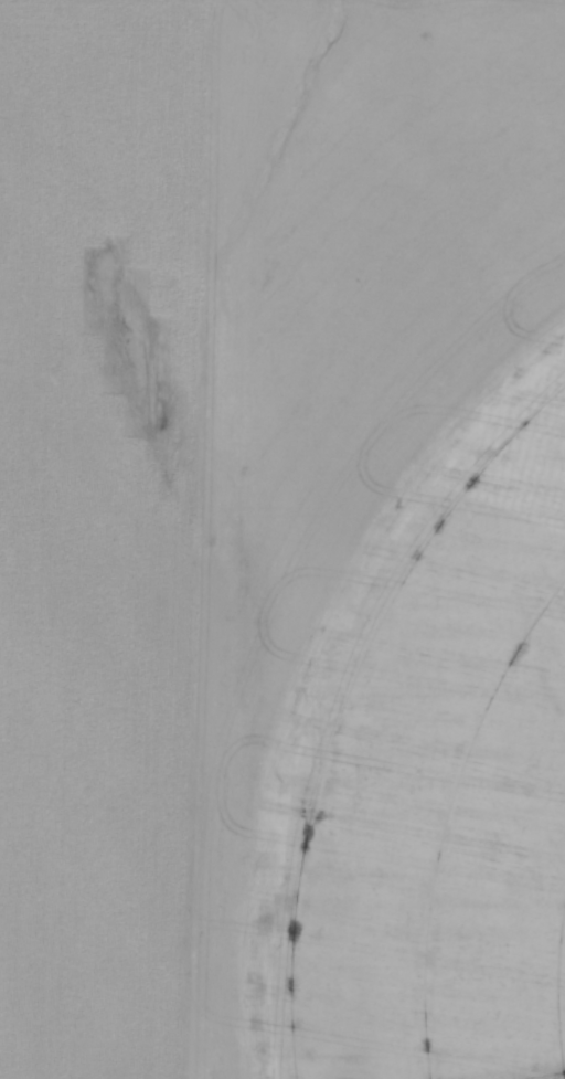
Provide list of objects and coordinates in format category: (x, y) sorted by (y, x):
crop: (282, 539)

